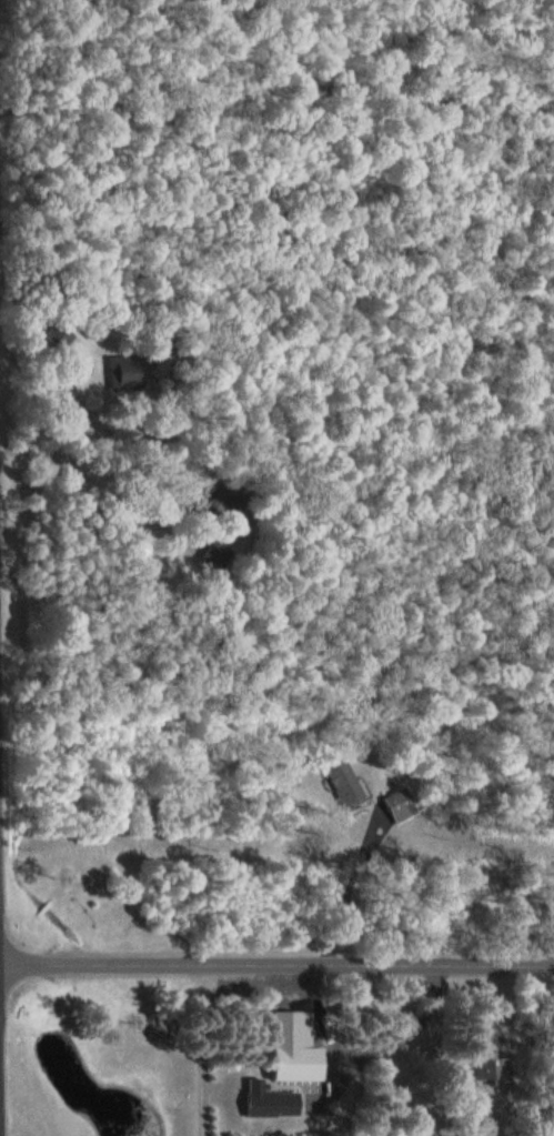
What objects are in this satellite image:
building: (339, 780)
road: (276, 964)
building: (485, 1058)

